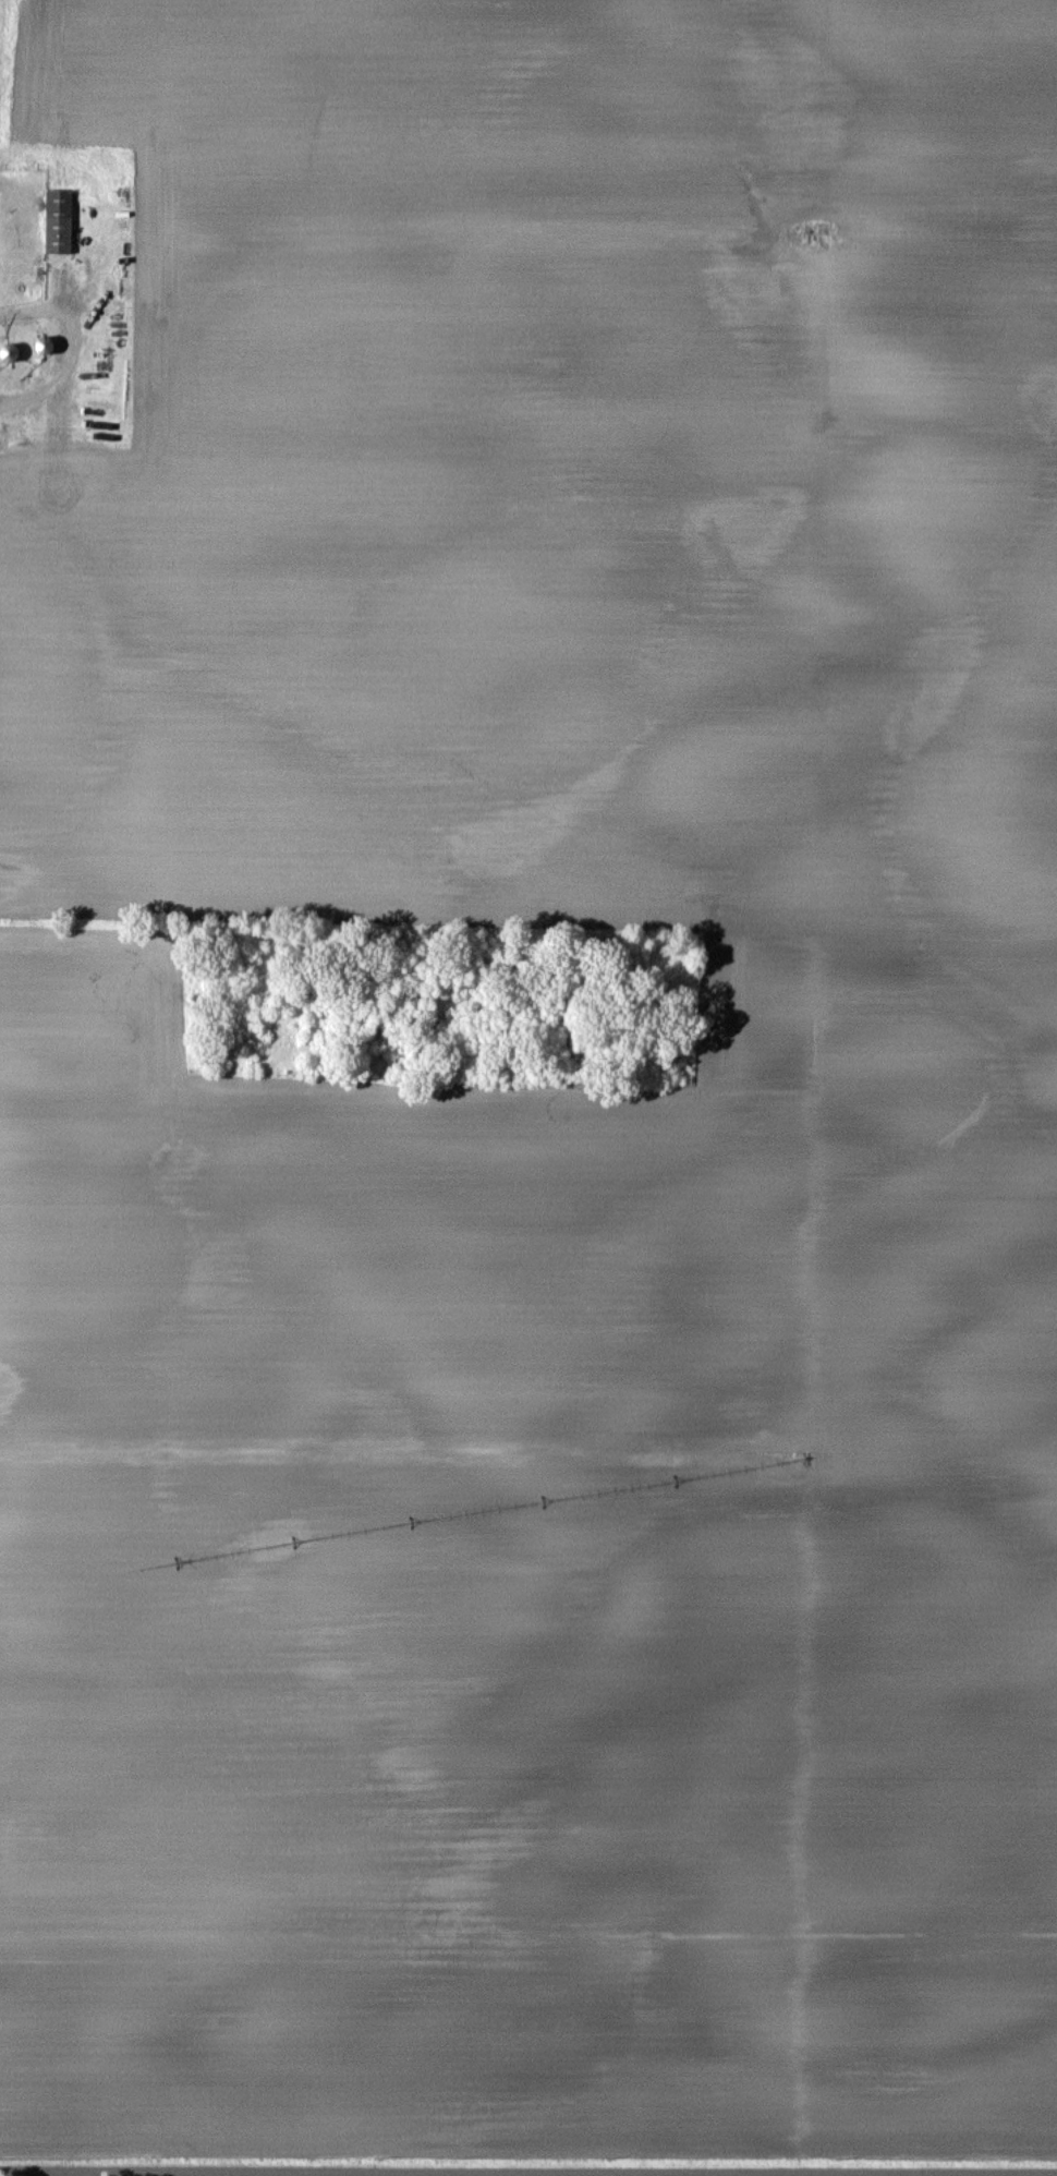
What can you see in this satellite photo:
building: (53, 220)
road: (78, 334)

